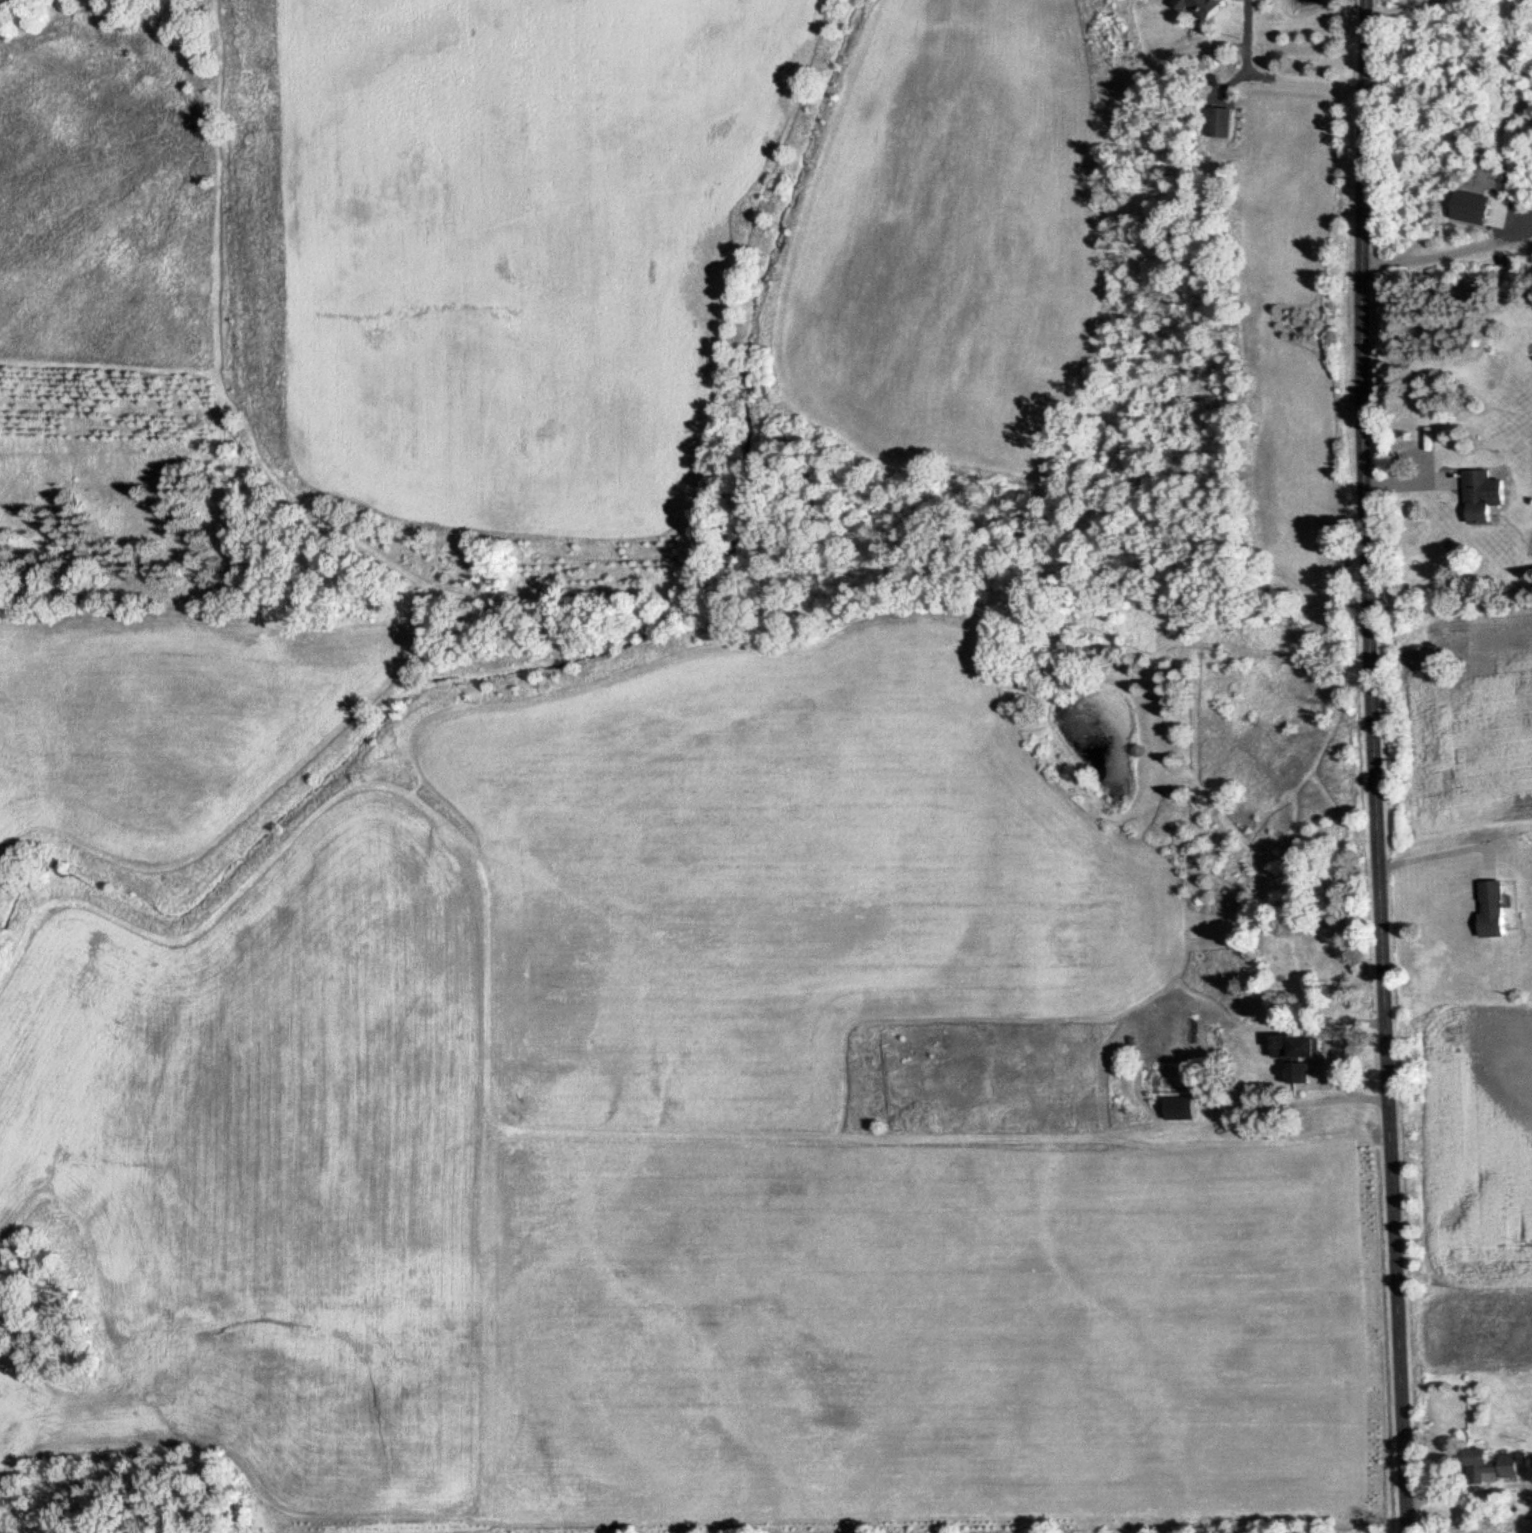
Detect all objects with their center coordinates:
building: (1194, 8)
building: (1215, 124)
road: (1446, 257)
building: (1476, 498)
road: (1374, 766)
road: (1441, 854)
building: (1486, 909)
building: (1291, 1046)
building: (1294, 1073)
building: (1175, 1108)
building: (1486, 1467)
building: (1531, 1525)

